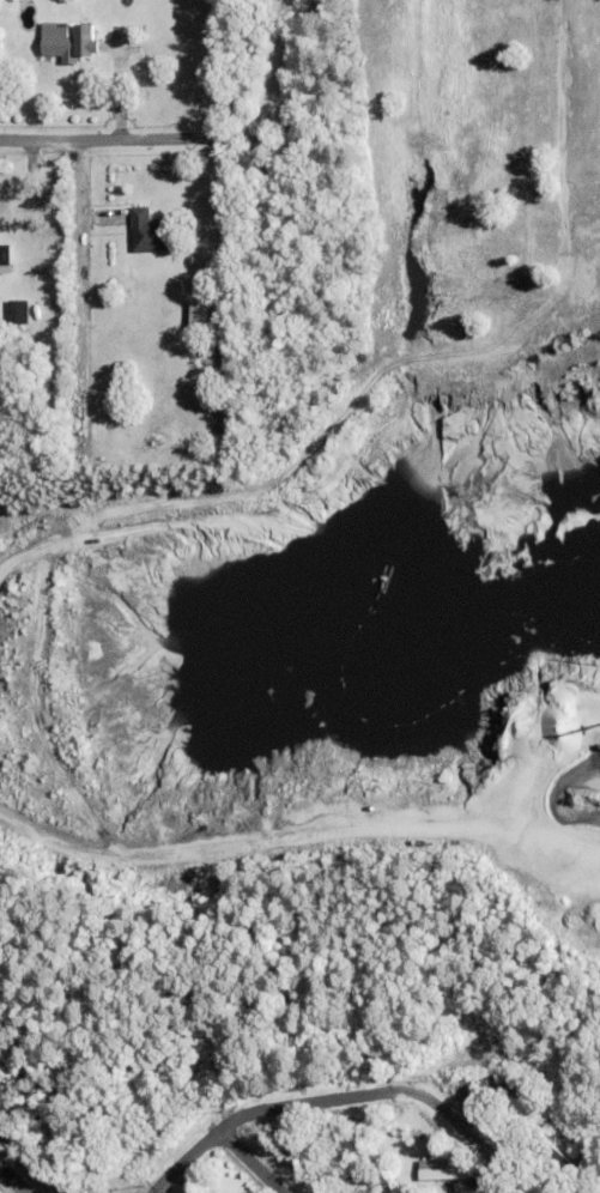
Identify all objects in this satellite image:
building: (71, 42)
road: (263, 122)
road: (69, 137)
building: (151, 232)
building: (6, 256)
building: (19, 314)
building: (200, 317)
building: (180, 327)
building: (214, 413)
building: (481, 1064)
building: (496, 1091)
road: (345, 1097)
building: (551, 1151)
road: (251, 1162)
building: (440, 1169)
building: (375, 1179)
road: (13, 1180)
building: (457, 1185)
building: (216, 1192)

